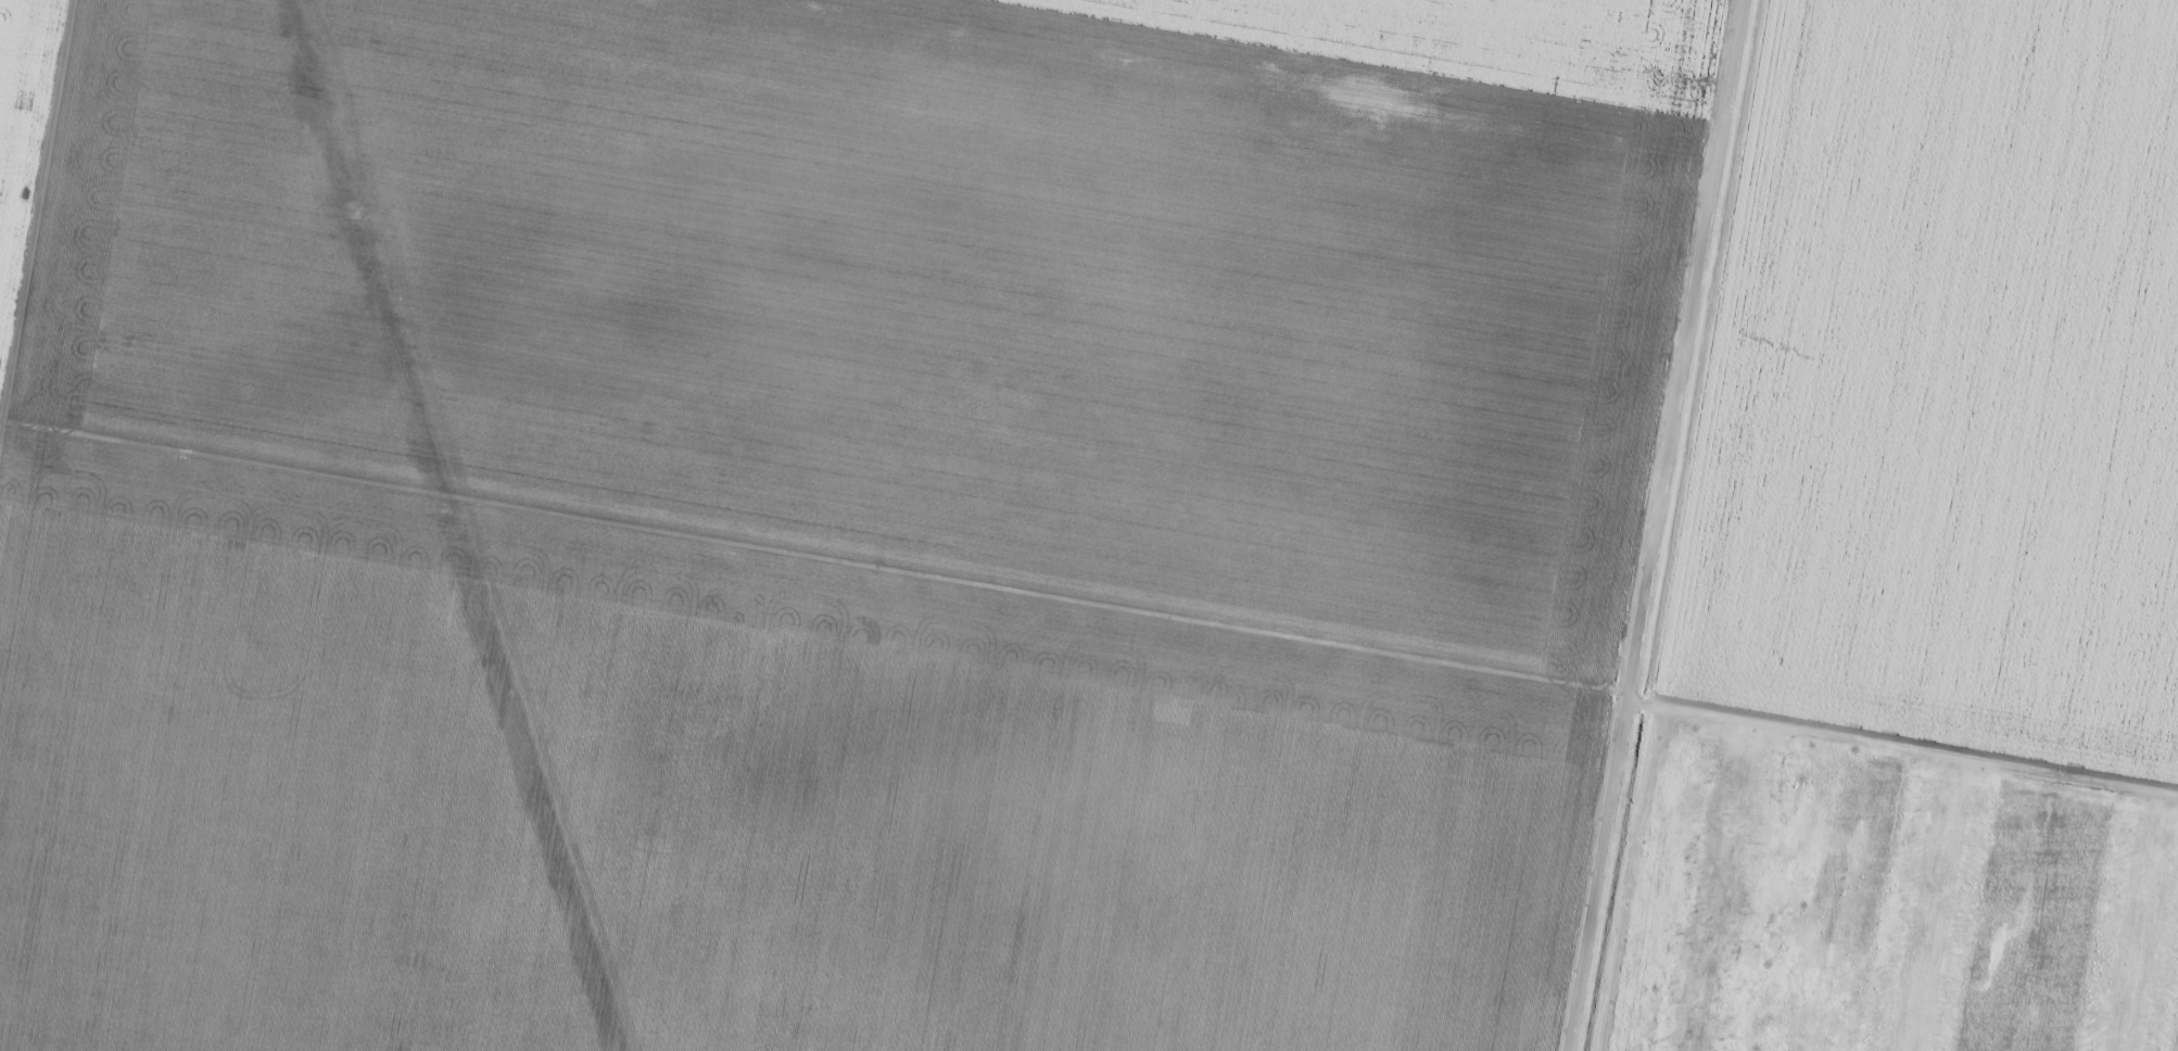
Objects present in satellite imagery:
road: (1660, 525)

